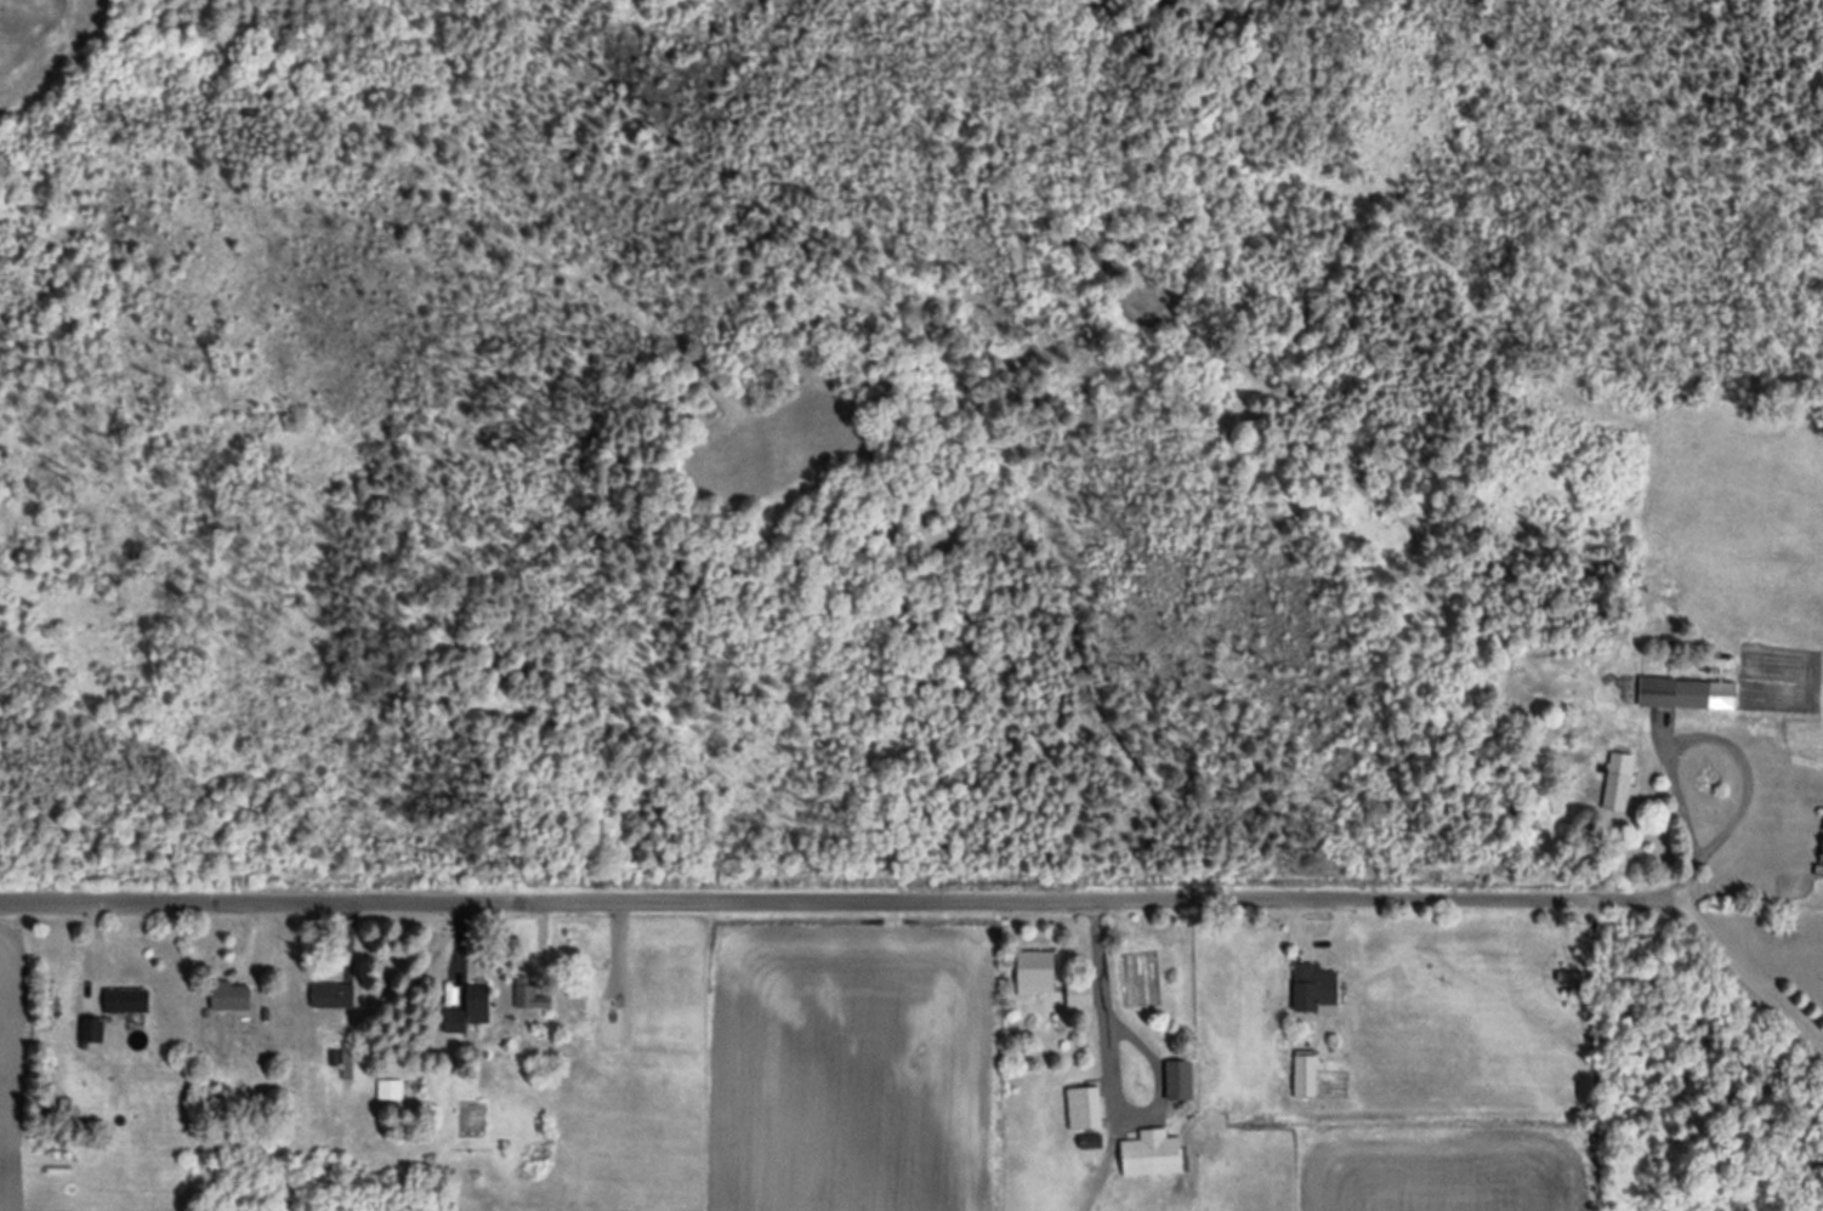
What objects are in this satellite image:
building: (1689, 692)
building: (1614, 780)
building: (1816, 868)
road: (1080, 897)
road: (239, 898)
building: (1037, 971)
building: (1316, 988)
building: (535, 993)
building: (334, 995)
building: (233, 996)
building: (471, 997)
building: (127, 999)
building: (91, 1029)
building: (1181, 1079)
building: (1086, 1105)
building: (1155, 1152)
building: (813, 1188)

